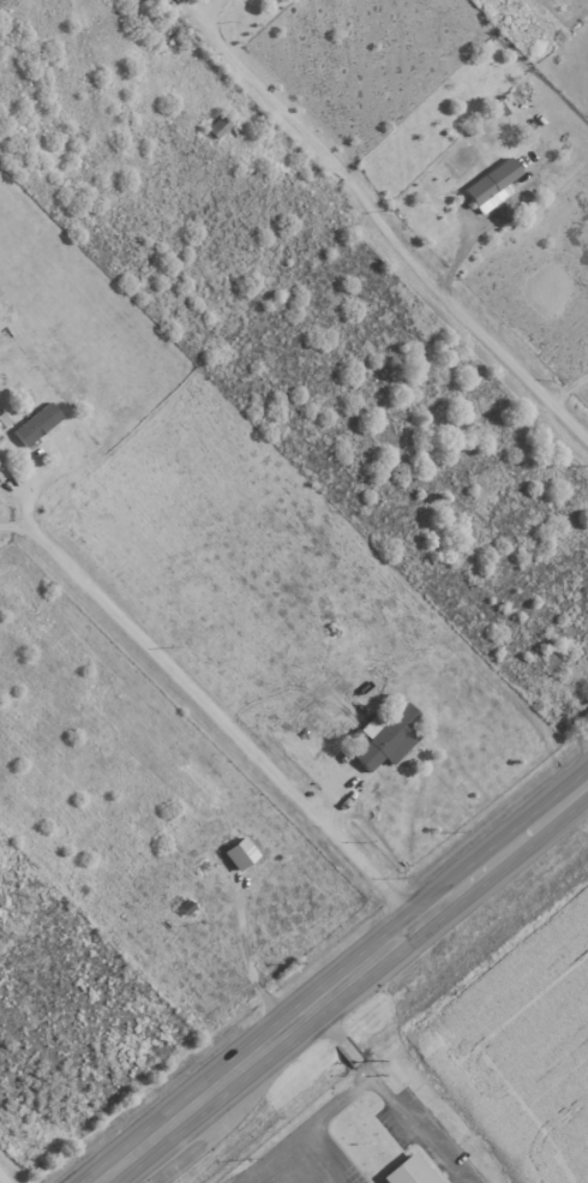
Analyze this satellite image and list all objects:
building: (503, 106)
building: (218, 126)
building: (492, 186)
road: (390, 233)
road: (568, 388)
building: (4, 419)
building: (37, 423)
building: (2, 472)
road: (210, 715)
building: (388, 736)
building: (240, 853)
building: (1, 900)
road: (245, 960)
road: (337, 978)
road: (325, 1017)
road: (350, 1050)
road: (367, 1071)
road: (311, 1124)
road: (416, 1131)
road: (272, 1157)
building: (409, 1171)

